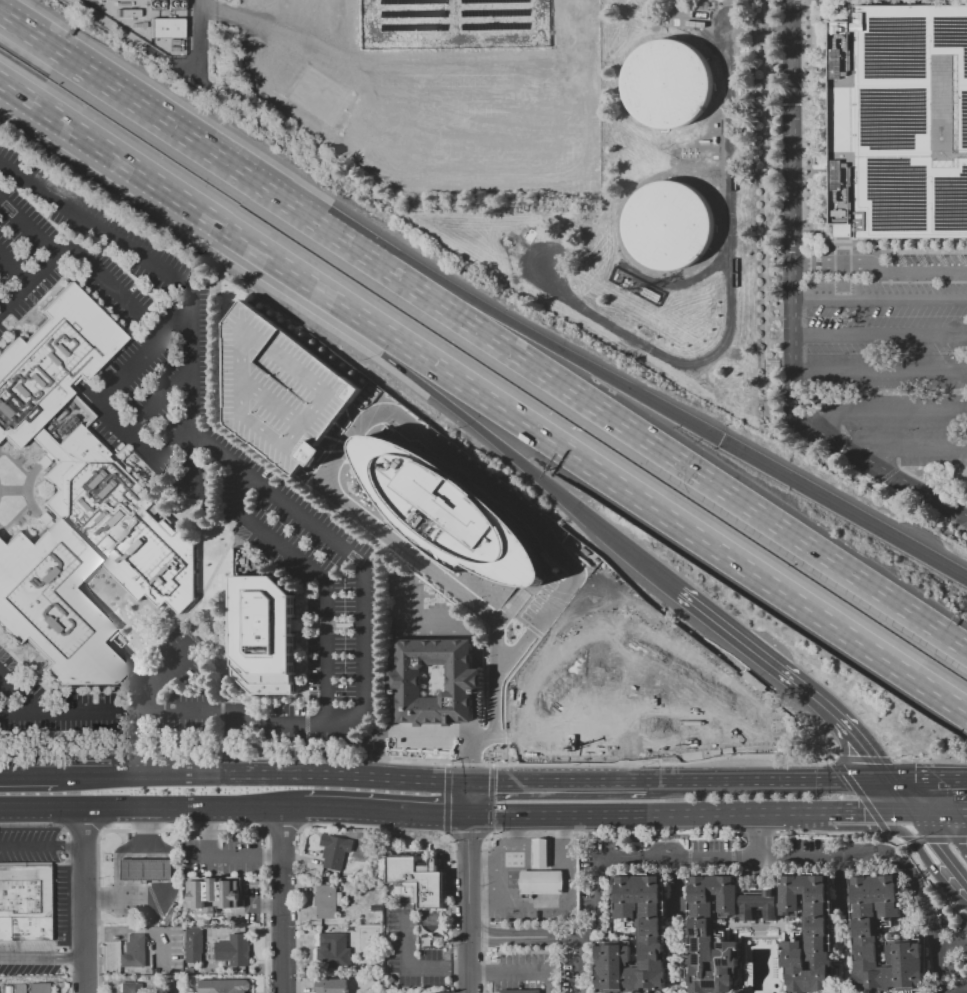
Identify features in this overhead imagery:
building: (494, 1)
building: (414, 2)
road: (762, 11)
building: (497, 13)
road: (726, 13)
building: (414, 14)
building: (165, 21)
building: (496, 26)
building: (414, 27)
road: (731, 27)
road: (197, 28)
road: (763, 28)
building: (667, 83)
storage tank: (667, 83)
building: (319, 96)
building: (900, 122)
building: (716, 125)
road: (510, 132)
building: (704, 140)
building: (715, 140)
road: (213, 154)
building: (715, 157)
road: (704, 170)
road: (181, 199)
building: (668, 225)
road: (27, 226)
building: (531, 234)
building: (508, 242)
building: (564, 242)
building: (158, 252)
road: (880, 267)
road: (13, 268)
building: (192, 271)
road: (97, 272)
building: (617, 276)
road: (174, 277)
building: (622, 279)
road: (27, 280)
road: (691, 280)
building: (630, 283)
road: (766, 287)
building: (651, 294)
building: (689, 301)
road: (880, 302)
building: (675, 304)
road: (794, 307)
road: (730, 312)
road: (880, 333)
road: (146, 356)
road: (575, 359)
road: (880, 370)
building: (280, 389)
parking lot: (280, 389)
road: (160, 400)
road: (883, 411)
road: (470, 420)
road: (126, 433)
traffic signals: (721, 440)
road: (907, 445)
road: (339, 451)
road: (189, 457)
building: (42, 462)
building: (136, 467)
road: (696, 469)
road: (888, 473)
road: (28, 477)
road: (933, 485)
road: (13, 489)
building: (78, 505)
road: (844, 509)
building: (449, 512)
road: (665, 514)
road: (15, 516)
building: (570, 538)
building: (585, 550)
road: (633, 554)
building: (597, 559)
road: (317, 573)
road: (510, 607)
building: (345, 624)
road: (650, 626)
road: (432, 627)
building: (264, 634)
road: (756, 654)
road: (129, 666)
road: (157, 672)
road: (497, 676)
road: (394, 680)
building: (406, 680)
road: (475, 680)
building: (604, 687)
road: (17, 691)
road: (743, 692)
road: (362, 708)
road: (394, 711)
road: (475, 713)
road: (407, 730)
road: (582, 735)
road: (864, 743)
road: (843, 747)
traffic signals: (470, 755)
traffic signals: (874, 756)
road: (862, 758)
road: (929, 759)
road: (548, 764)
road: (169, 774)
road: (28, 775)
road: (83, 775)
road: (349, 776)
road: (859, 778)
road: (927, 778)
traffic signals: (935, 778)
traffic signals: (497, 779)
road: (560, 779)
road: (740, 779)
road: (901, 795)
road: (909, 795)
road: (861, 796)
road: (185, 805)
road: (297, 805)
road: (44, 806)
road: (391, 810)
road: (948, 811)
road: (896, 812)
road: (922, 812)
road: (852, 813)
traffic signals: (870, 813)
traffic signals: (441, 814)
road: (647, 814)
road: (143, 832)
road: (948, 833)
road: (677, 834)
road: (760, 835)
road: (420, 836)
road: (469, 838)
road: (900, 839)
road: (935, 839)
parking lot: (29, 842)
traffic signals: (469, 842)
traffic signals: (958, 843)
road: (44, 845)
road: (940, 846)
building: (335, 850)
building: (540, 853)
gas station: (540, 853)
building: (358, 857)
road: (757, 857)
road: (924, 857)
road: (41, 863)
road: (143, 868)
building: (144, 868)
building: (419, 880)
building: (541, 881)
road: (677, 883)
road: (843, 884)
road: (469, 885)
building: (212, 893)
road: (121, 897)
road: (89, 899)
road: (282, 899)
building: (327, 901)
building: (24, 902)
building: (761, 906)
road: (594, 907)
road: (927, 908)
building: (170, 914)
building: (866, 932)
building: (651, 933)
building: (712, 933)
building: (809, 933)
road: (512, 936)
road: (568, 937)
road: (951, 941)
building: (194, 943)
building: (234, 949)
building: (133, 951)
building: (333, 951)
road: (45, 958)
road: (411, 966)
building: (953, 967)
road: (520, 972)
building: (391, 978)
building: (331, 985)
building: (224, 986)
building: (14, 987)
building: (131, 987)
building: (38, 988)
building: (521, 990)

